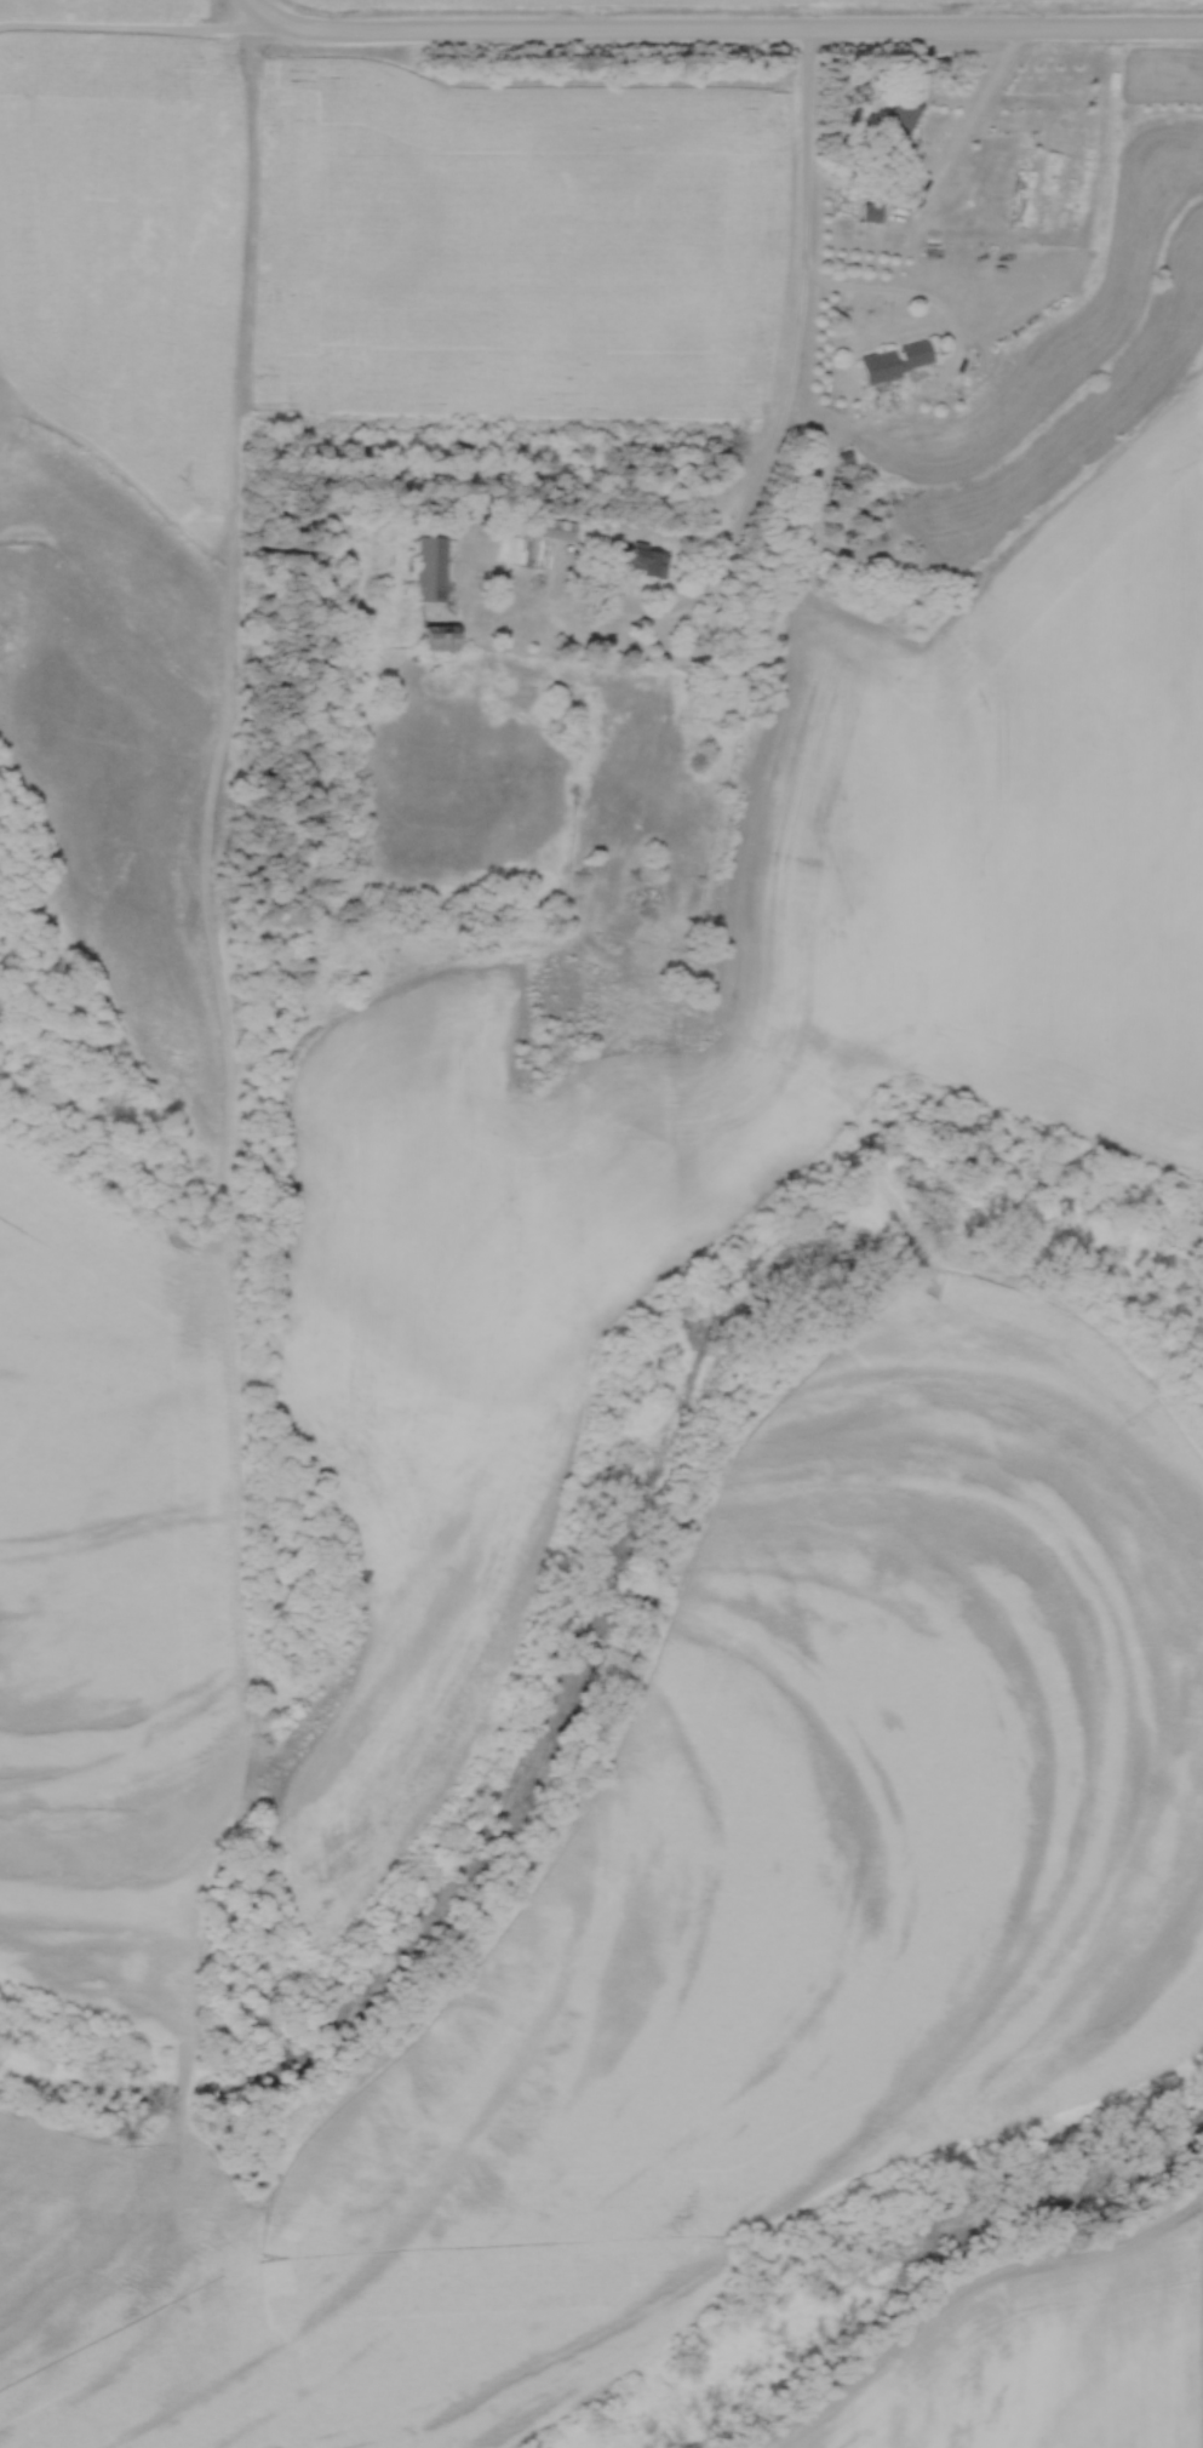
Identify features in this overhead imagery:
road: (245, 10)
road: (724, 33)
road: (126, 34)
building: (900, 122)
building: (871, 212)
building: (895, 361)
road: (766, 445)
building: (558, 530)
building: (645, 561)
building: (432, 570)

